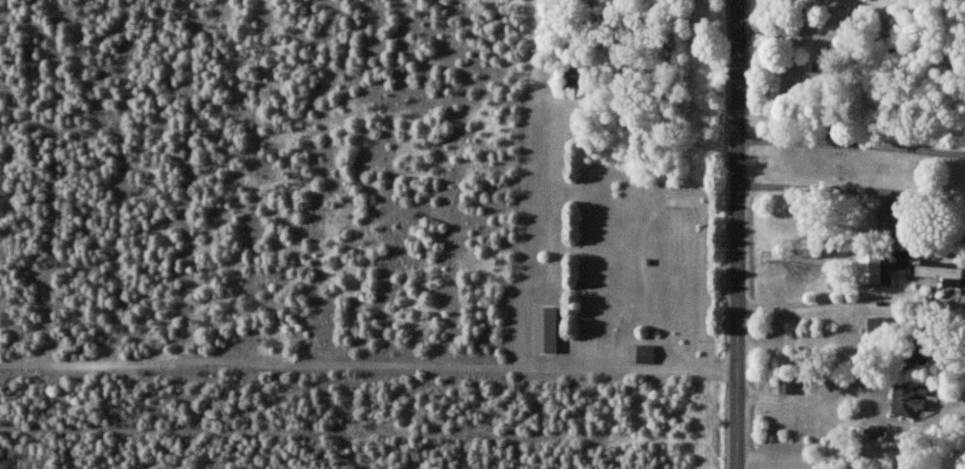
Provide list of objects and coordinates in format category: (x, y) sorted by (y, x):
road: (851, 142)
road: (851, 190)
building: (889, 222)
road: (736, 234)
building: (901, 258)
building: (870, 269)
building: (940, 273)
road: (820, 305)
building: (545, 330)
building: (644, 354)
building: (787, 387)
building: (908, 400)

